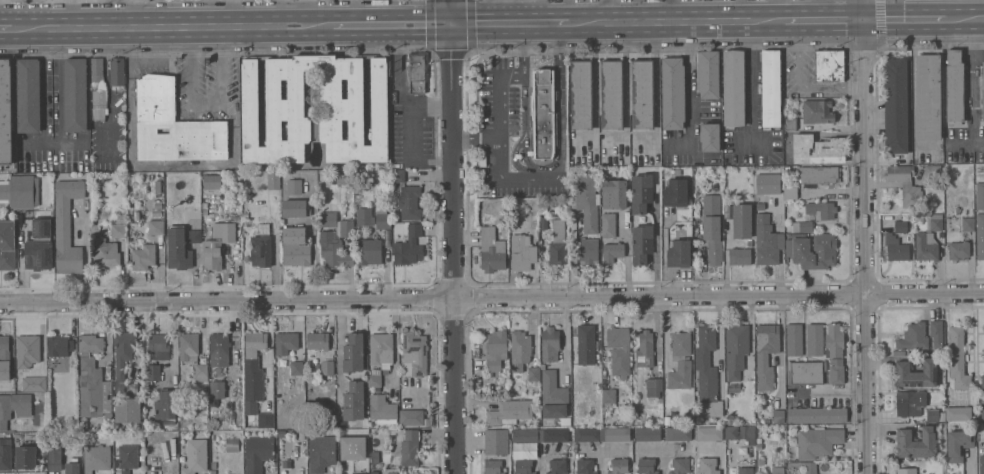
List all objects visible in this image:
road: (737, 10)
road: (670, 11)
road: (129, 12)
road: (72, 13)
road: (964, 20)
road: (676, 21)
road: (824, 21)
traffic signals: (863, 21)
road: (904, 21)
traffic signals: (452, 22)
road: (487, 22)
road: (539, 22)
road: (562, 22)
road: (249, 23)
road: (5, 26)
road: (29, 26)
building: (829, 65)
building: (97, 70)
building: (117, 72)
building: (417, 72)
building: (708, 74)
road: (511, 76)
road: (971, 83)
road: (752, 84)
road: (799, 86)
building: (770, 88)
building: (954, 88)
road: (401, 89)
building: (733, 89)
building: (982, 90)
road: (657, 91)
building: (612, 93)
building: (673, 93)
building: (581, 94)
building: (643, 94)
building: (75, 95)
building: (28, 96)
road: (690, 97)
building: (928, 97)
building: (98, 103)
road: (206, 104)
building: (896, 105)
building: (284, 109)
road: (499, 109)
building: (5, 112)
building: (817, 112)
building: (543, 113)
building: (790, 123)
building: (173, 126)
road: (409, 134)
building: (709, 137)
road: (477, 142)
road: (52, 143)
building: (818, 150)
building: (482, 159)
road: (546, 170)
building: (932, 172)
building: (818, 174)
building: (398, 176)
building: (100, 179)
building: (341, 179)
road: (520, 179)
building: (273, 180)
building: (212, 182)
building: (767, 183)
building: (905, 184)
building: (294, 186)
building: (157, 187)
building: (19, 191)
building: (675, 192)
building: (614, 193)
building: (641, 193)
building: (791, 193)
building: (980, 196)
building: (409, 202)
building: (585, 202)
building: (157, 204)
building: (205, 208)
building: (294, 208)
building: (245, 215)
building: (815, 215)
building: (365, 217)
building: (134, 219)
building: (235, 219)
building: (382, 219)
building: (543, 221)
building: (742, 221)
building: (935, 222)
building: (968, 224)
building: (607, 225)
building: (66, 226)
building: (156, 227)
building: (901, 227)
building: (263, 228)
building: (712, 228)
building: (94, 229)
building: (118, 230)
building: (245, 234)
building: (194, 235)
road: (456, 236)
building: (980, 236)
building: (336, 237)
road: (864, 237)
road: (314, 241)
building: (767, 241)
building: (557, 242)
building: (642, 243)
building: (749, 243)
building: (7, 244)
building: (217, 244)
building: (39, 246)
building: (296, 246)
building: (409, 247)
building: (897, 247)
building: (926, 247)
building: (178, 248)
building: (491, 250)
building: (959, 250)
building: (260, 251)
building: (368, 251)
building: (612, 251)
building: (797, 251)
building: (521, 252)
building: (589, 252)
building: (678, 253)
building: (105, 254)
road: (655, 254)
building: (143, 257)
building: (739, 257)
road: (491, 297)
building: (936, 333)
road: (139, 337)
building: (913, 337)
building: (794, 339)
building: (814, 340)
building: (834, 340)
building: (317, 341)
building: (285, 342)
road: (173, 343)
building: (550, 344)
building: (586, 344)
road: (338, 345)
building: (58, 346)
building: (158, 346)
building: (188, 346)
building: (4, 348)
building: (219, 349)
building: (736, 349)
building: (27, 350)
building: (381, 350)
building: (619, 350)
building: (645, 350)
building: (495, 352)
building: (353, 353)
building: (519, 353)
building: (414, 354)
building: (122, 355)
building: (766, 355)
building: (958, 358)
building: (680, 361)
building: (59, 367)
building: (296, 367)
building: (327, 368)
building: (5, 370)
building: (253, 371)
building: (153, 372)
building: (201, 372)
building: (806, 372)
building: (534, 373)
building: (707, 373)
building: (917, 373)
building: (836, 374)
building: (92, 379)
building: (375, 381)
building: (982, 382)
building: (34, 384)
building: (217, 384)
building: (653, 387)
building: (405, 392)
building: (624, 394)
building: (553, 396)
building: (609, 398)
building: (354, 401)
building: (909, 402)
building: (165, 404)
building: (13, 407)
building: (381, 408)
building: (127, 410)
building: (510, 412)
building: (958, 413)
building: (982, 414)
building: (819, 415)
building: (932, 415)
building: (942, 415)
building: (181, 416)
building: (778, 416)
building: (204, 417)
building: (411, 417)
building: (265, 420)
building: (667, 420)
building: (545, 422)
building: (732, 432)
building: (281, 433)
building: (678, 433)
building: (709, 433)
building: (302, 434)
building: (588, 434)
building: (616, 434)
building: (648, 434)
building: (748, 434)
building: (527, 435)
building: (555, 435)
building: (35, 436)
building: (496, 441)
building: (817, 442)
building: (917, 443)
building: (958, 443)
building: (232, 444)
building: (759, 447)
building: (353, 448)
building: (410, 448)
road: (589, 451)
road: (600, 451)
road: (675, 452)
building: (258, 453)
building: (322, 453)
road: (662, 453)
building: (5, 454)
building: (54, 455)
building: (196, 456)
building: (524, 456)
road: (972, 456)
building: (26, 457)
building: (128, 457)
road: (542, 457)
building: (96, 458)
building: (760, 462)
building: (982, 464)
building: (213, 465)
building: (680, 465)
building: (708, 465)
building: (585, 466)
building: (619, 466)
building: (646, 466)
building: (803, 466)
building: (492, 467)
building: (557, 467)
building: (72, 468)
building: (358, 468)
building: (778, 470)
building: (745, 471)
building: (906, 471)
building: (212, 472)
building: (342, 472)
building: (392, 472)
building: (357, 473)

